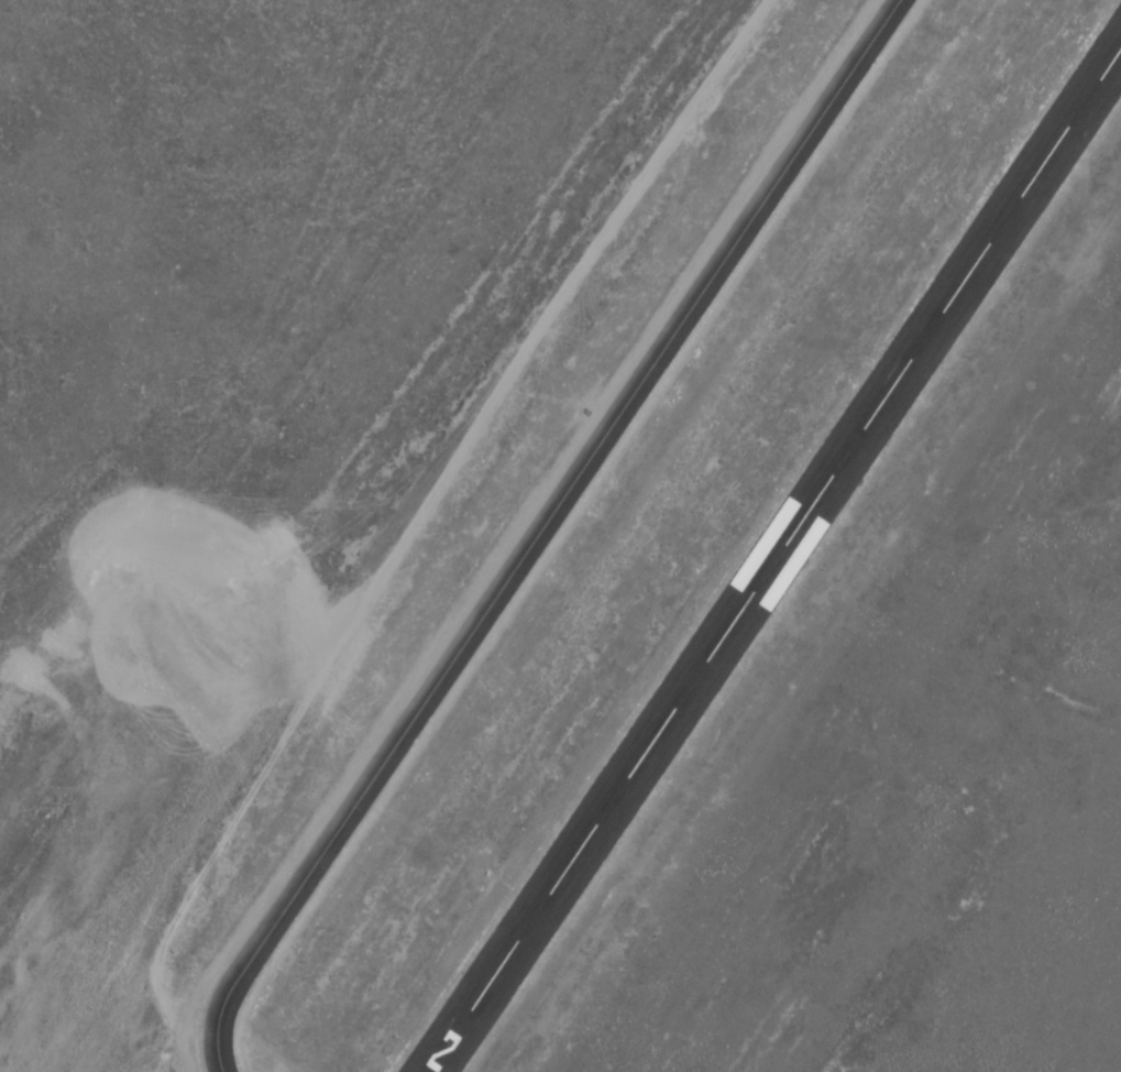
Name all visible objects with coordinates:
airport taxiway: (538, 530)
airport: (560, 536)
airport runway: (773, 559)

